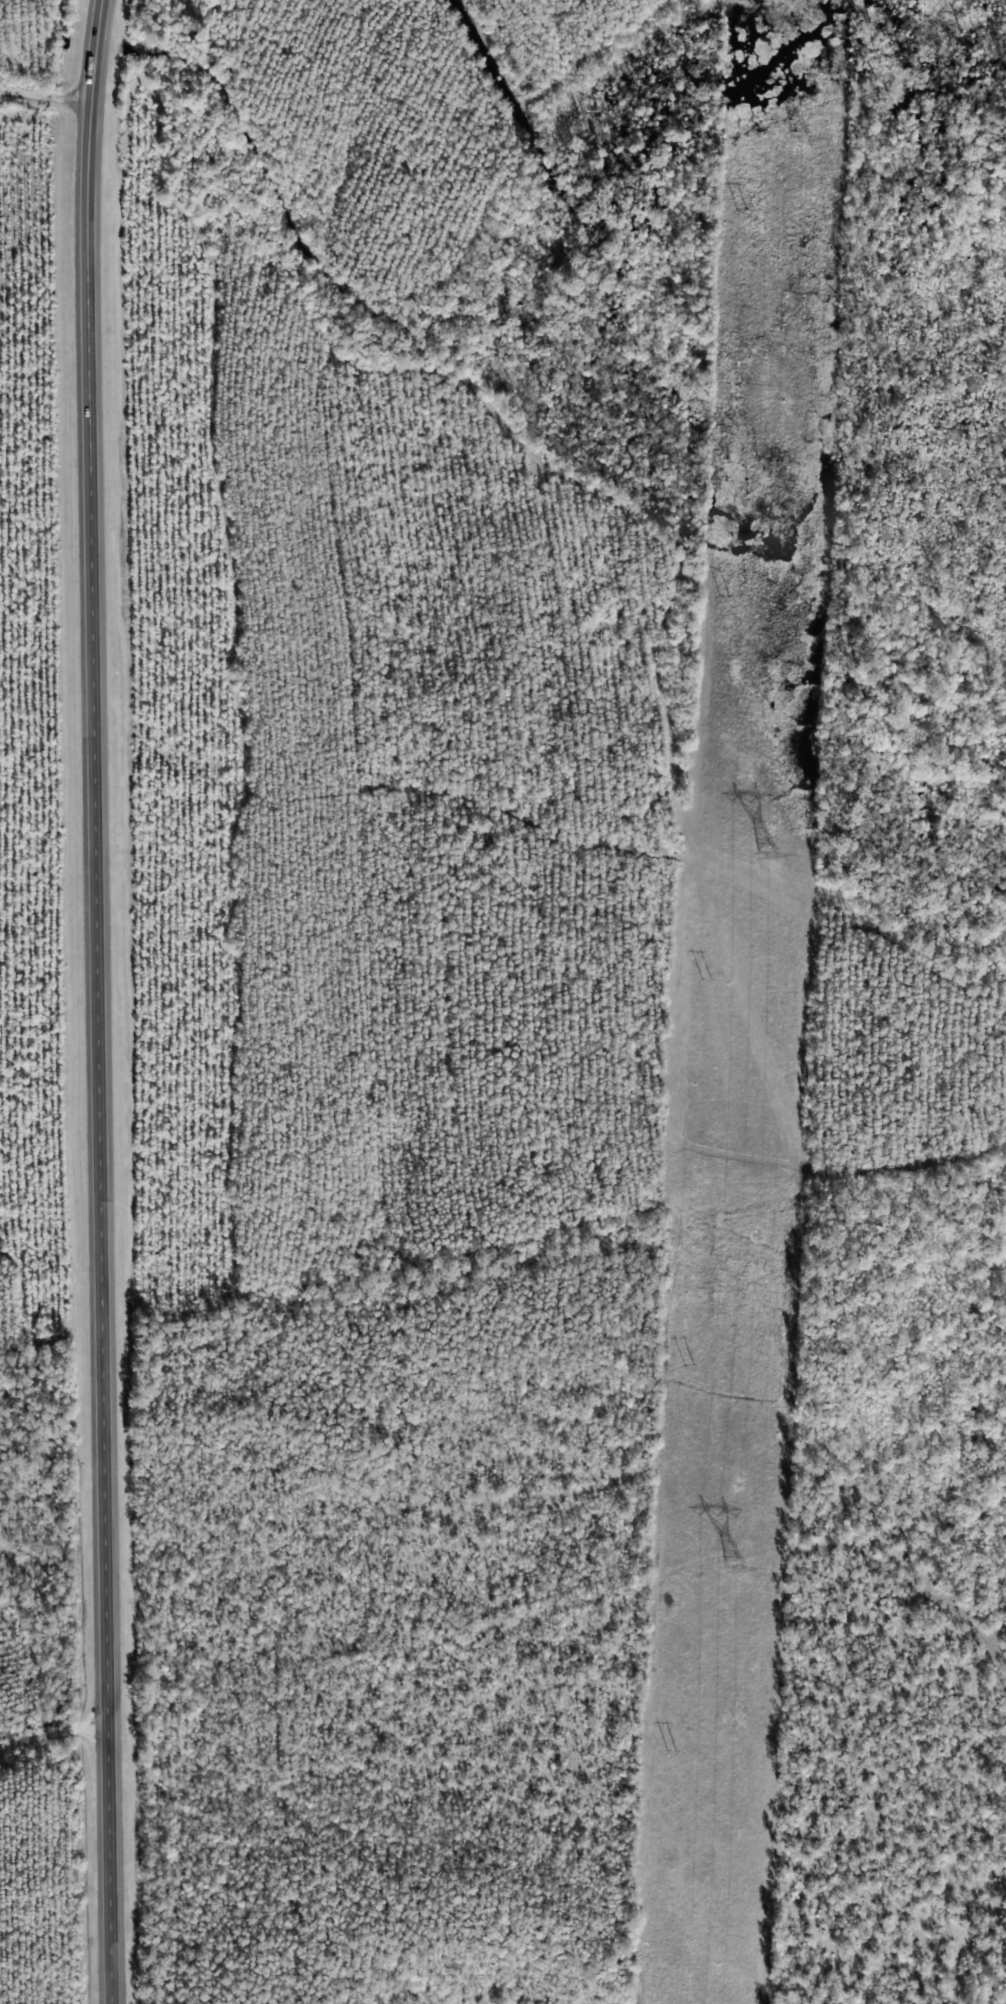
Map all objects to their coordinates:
road: (46, 98)
power tower: (795, 139)
power tower: (763, 856)
road: (100, 1001)
power tower: (731, 1567)
road: (54, 1757)

